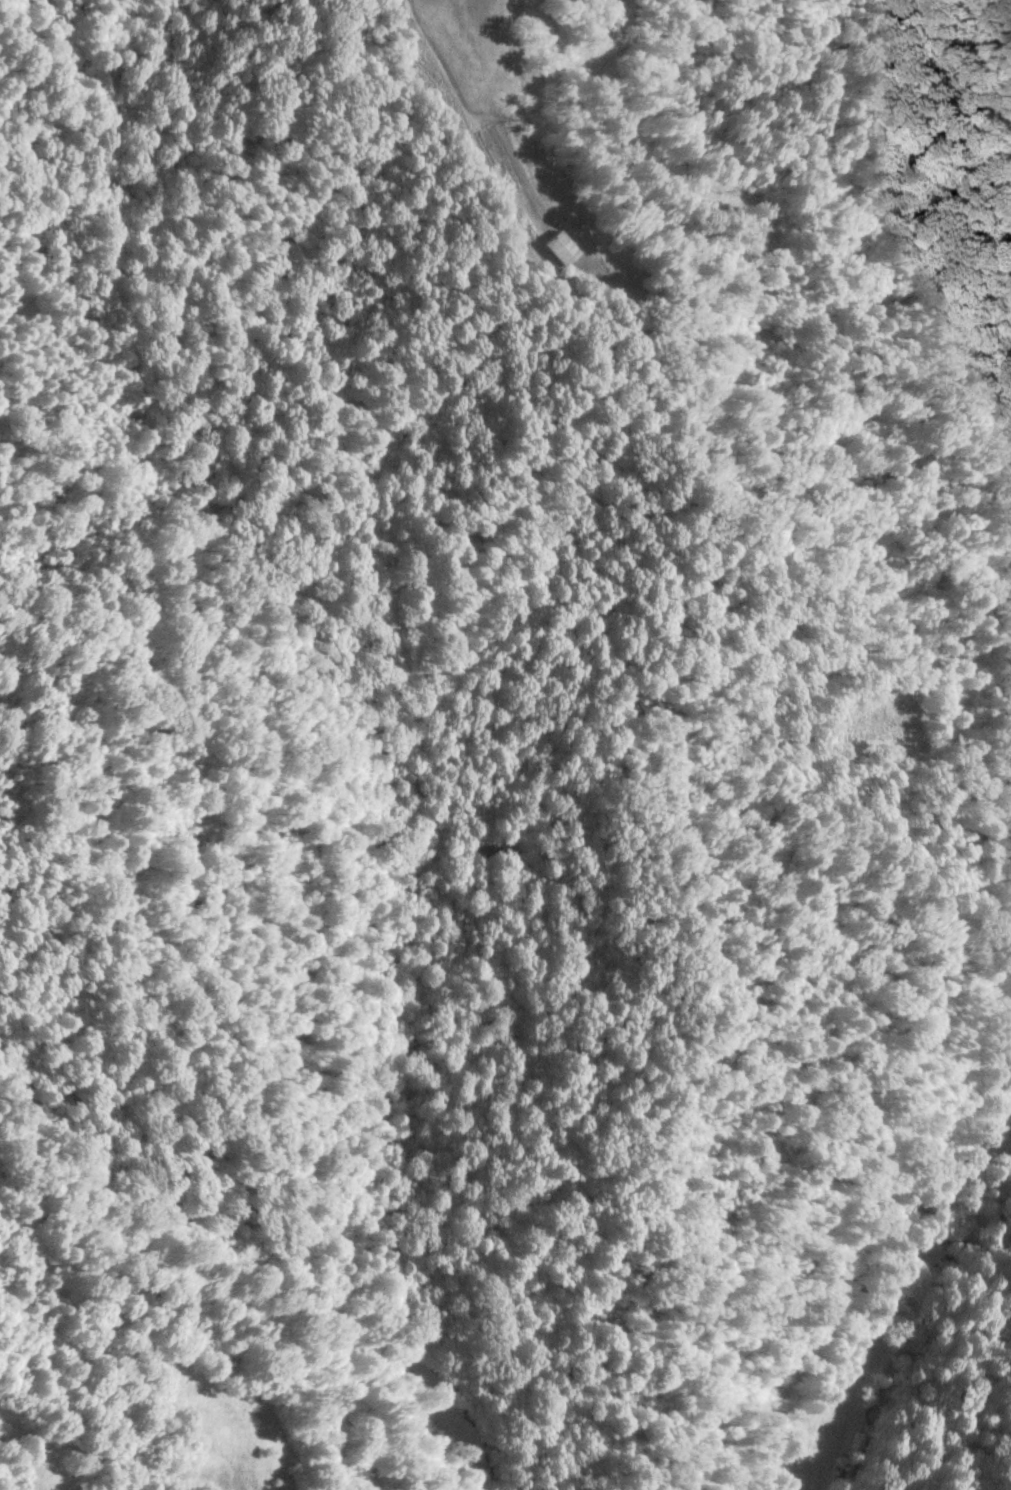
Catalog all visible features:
building: (559, 249)

